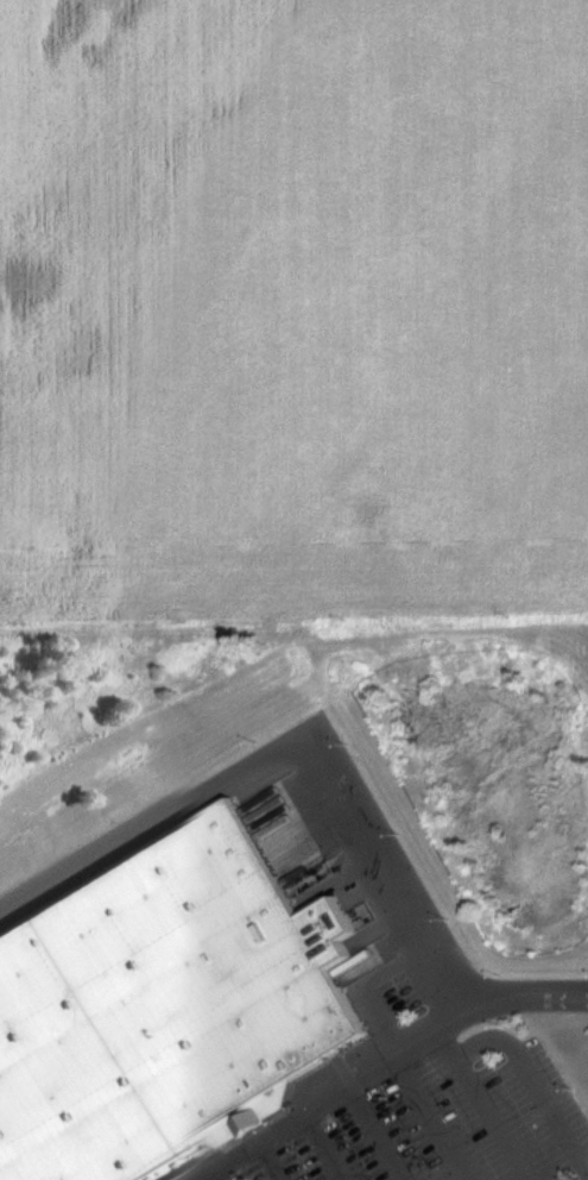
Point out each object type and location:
road: (280, 759)
building: (165, 1006)
road: (386, 1063)

